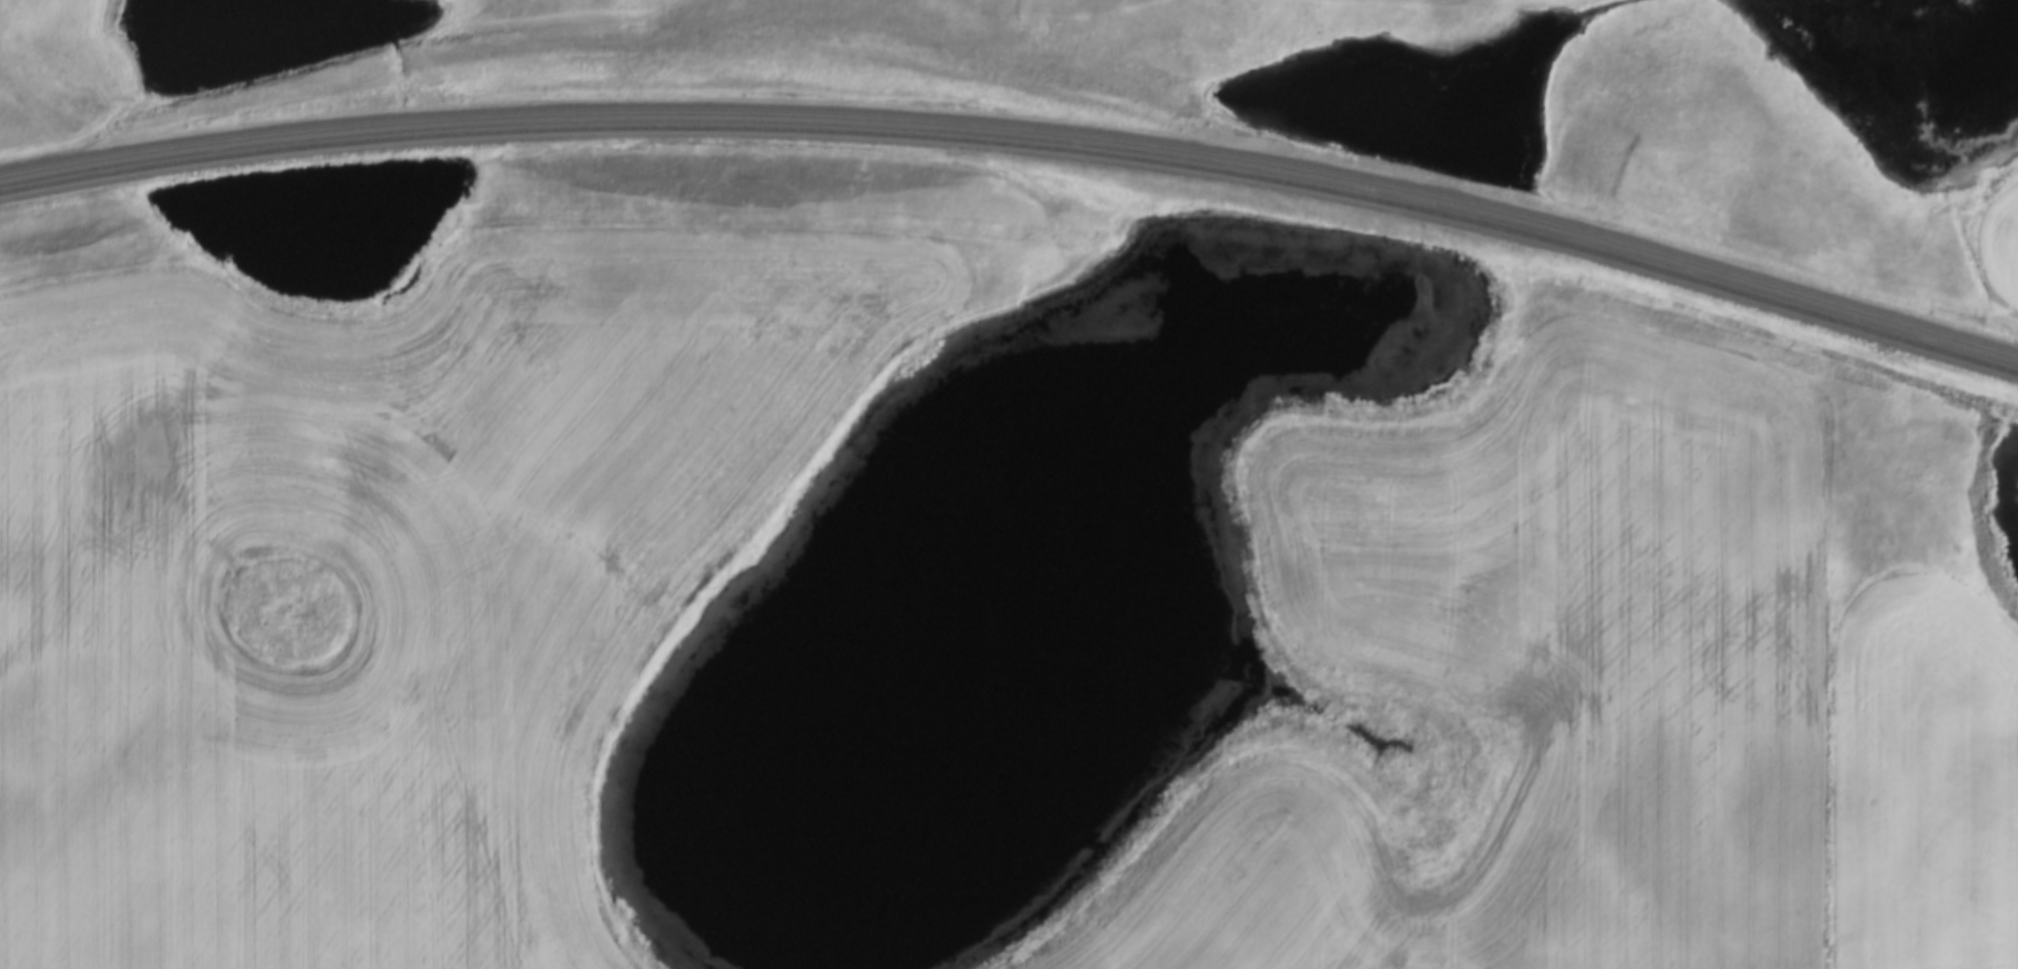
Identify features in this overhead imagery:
railway: (1021, 122)
railway: (1020, 144)

